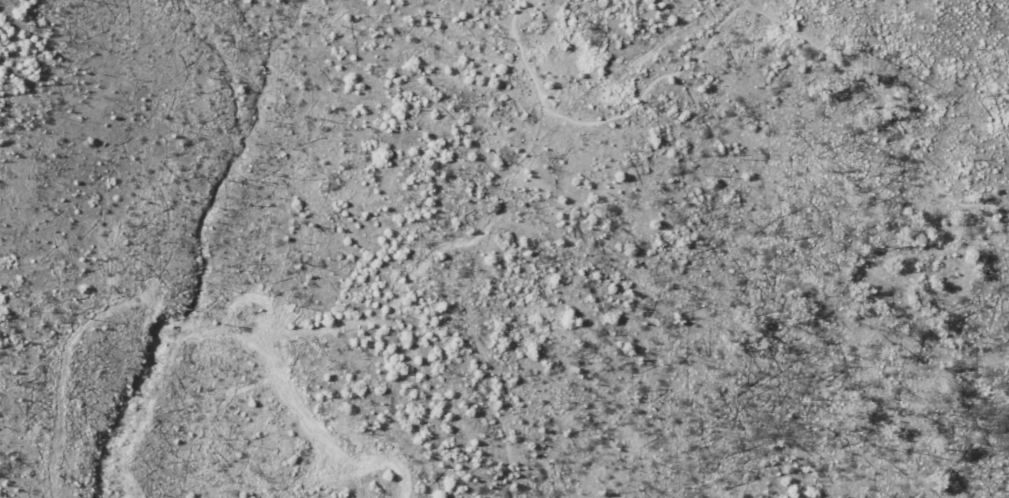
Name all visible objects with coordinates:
road: (740, 2)
park: (504, 249)
road: (466, 297)

